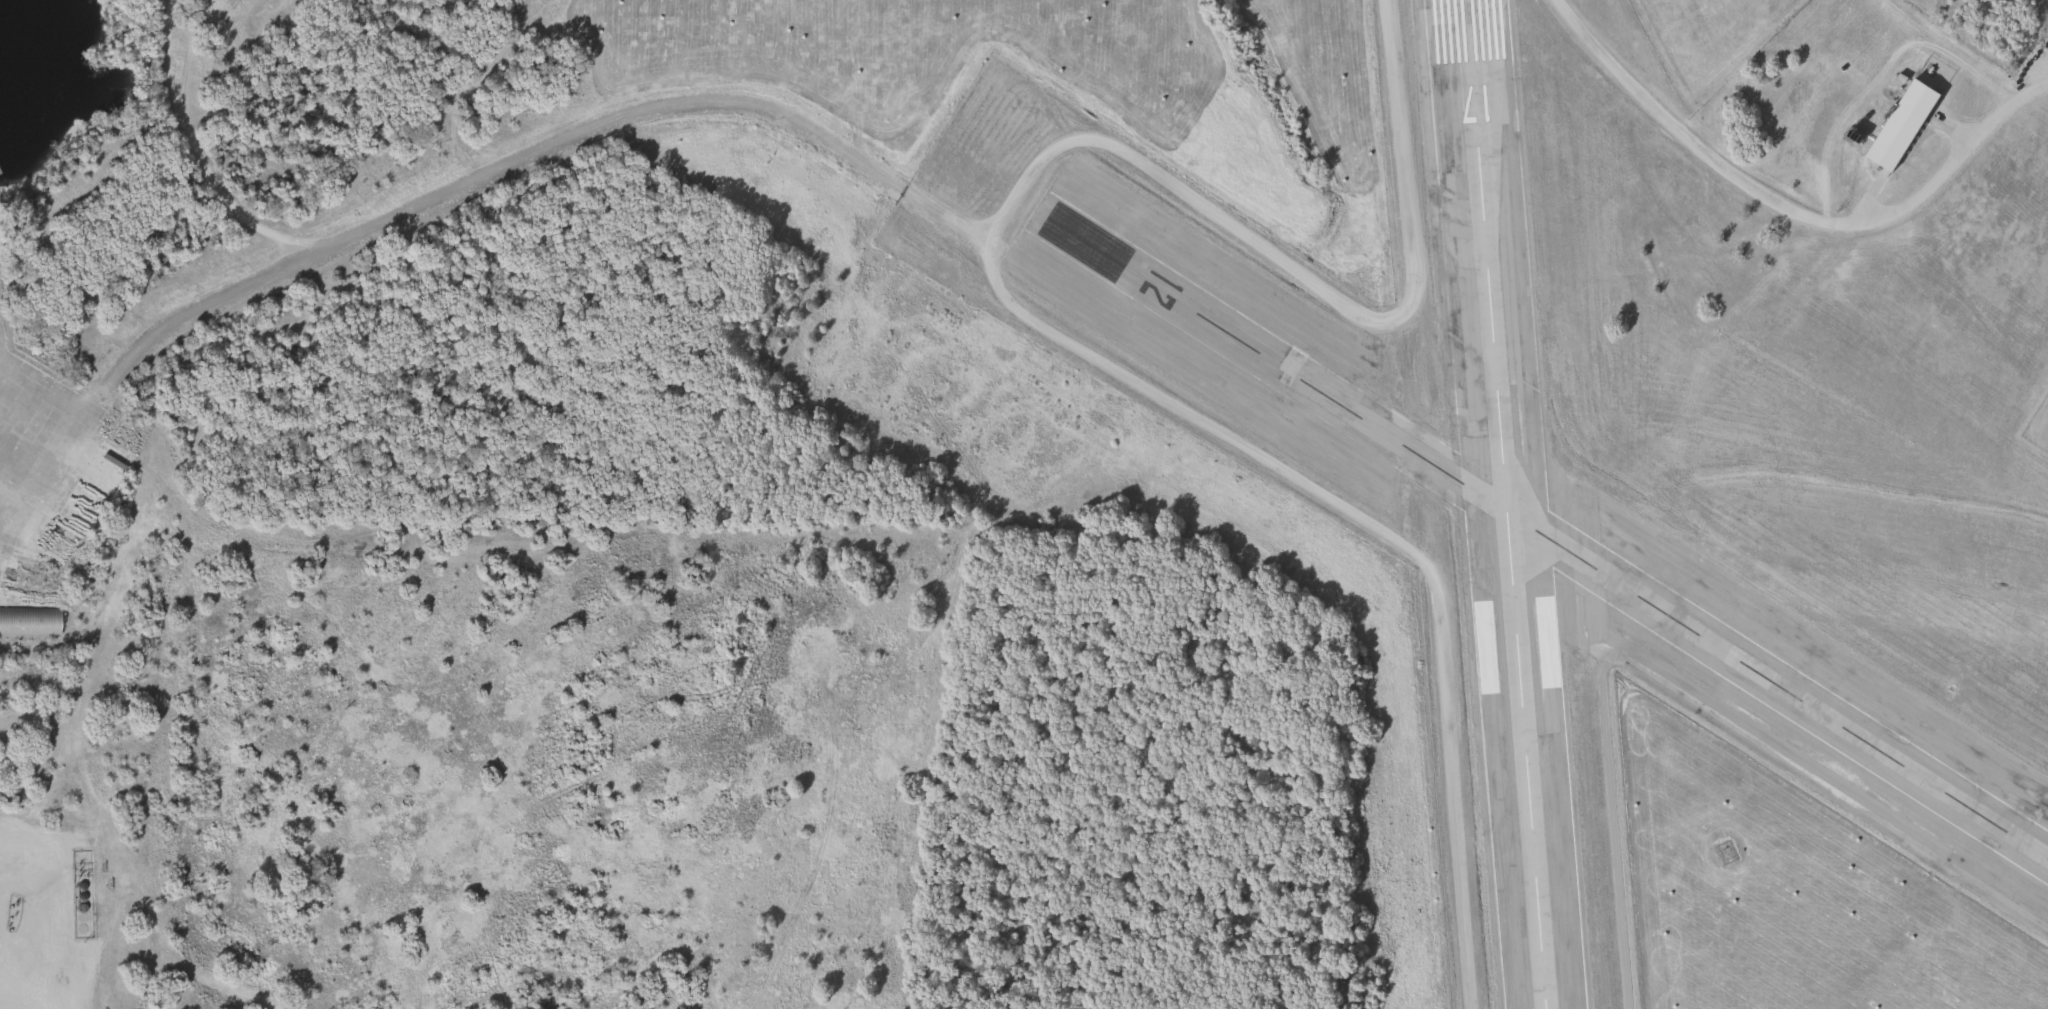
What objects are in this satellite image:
building: (1898, 125)
road: (194, 152)
road: (1788, 206)
road: (404, 208)
road: (1264, 253)
airport: (1615, 420)
airport runway: (1505, 504)
airport runway: (1550, 526)
road: (1379, 529)
building: (29, 621)

